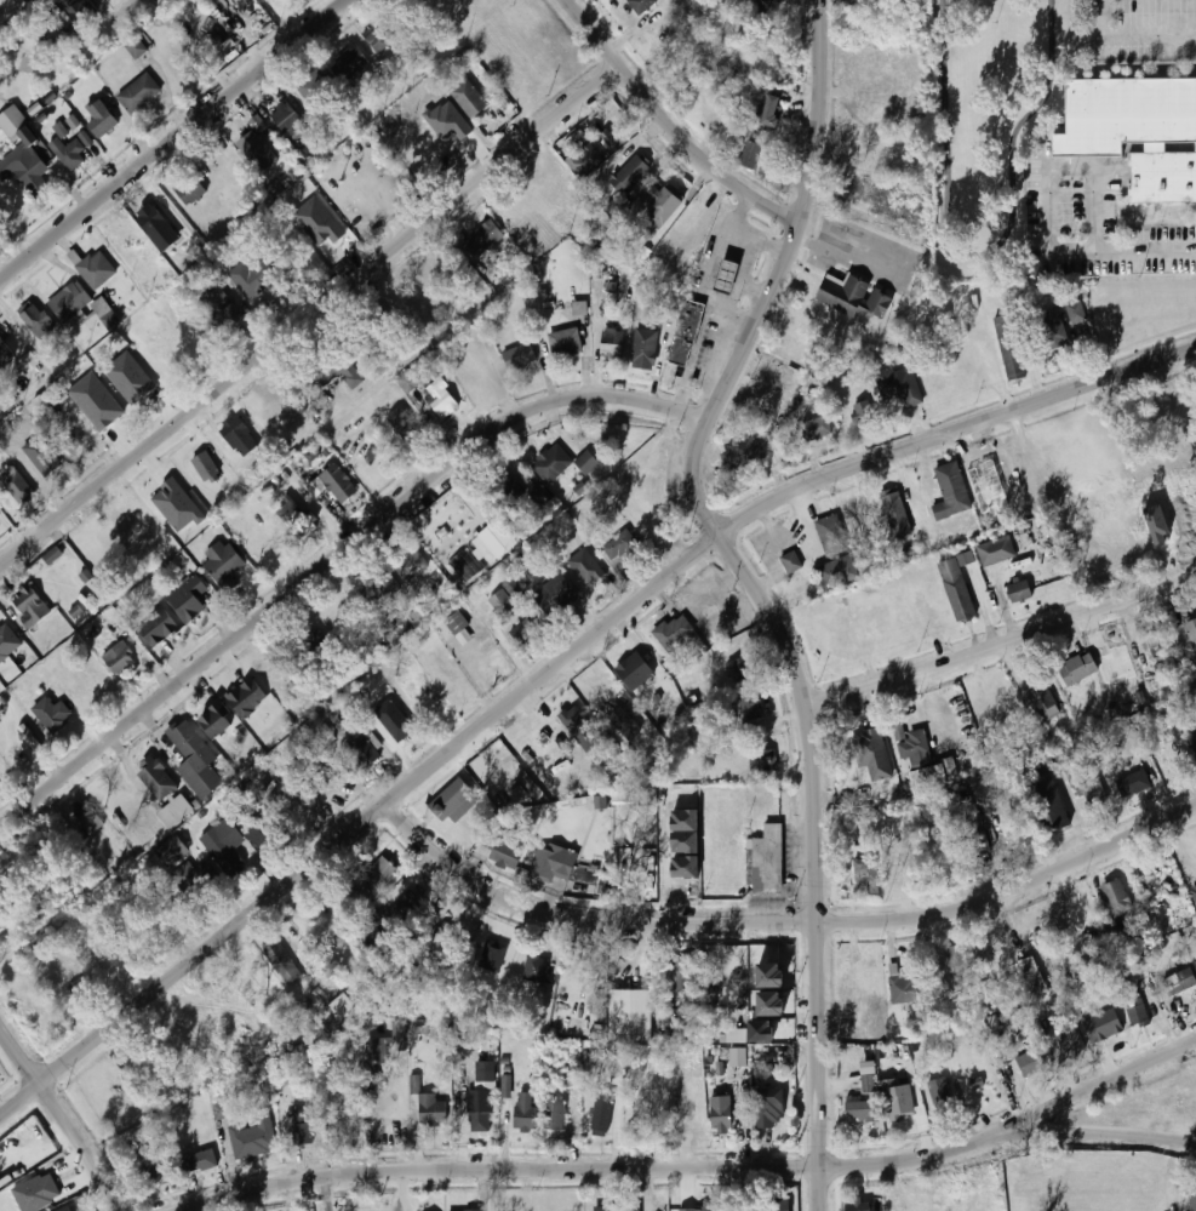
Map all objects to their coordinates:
road: (4, 2)
building: (642, 4)
building: (761, 6)
building: (80, 11)
building: (376, 36)
road: (1126, 42)
building: (137, 47)
building: (349, 63)
building: (138, 92)
building: (469, 98)
building: (766, 116)
building: (102, 119)
building: (287, 119)
building: (73, 122)
road: (671, 124)
building: (1137, 133)
building: (613, 138)
road: (176, 141)
building: (258, 152)
building: (68, 153)
building: (22, 154)
building: (752, 155)
building: (305, 156)
building: (584, 160)
road: (1048, 168)
building: (629, 175)
building: (189, 190)
building: (662, 207)
building: (154, 224)
building: (481, 239)
road: (846, 246)
road: (1146, 246)
building: (643, 256)
building: (95, 273)
road: (771, 276)
building: (252, 278)
building: (727, 278)
building: (843, 296)
building: (68, 302)
building: (221, 308)
building: (580, 308)
building: (105, 313)
building: (1076, 313)
road: (311, 318)
building: (35, 321)
building: (1052, 330)
building: (686, 335)
building: (565, 344)
building: (612, 344)
building: (1009, 347)
building: (645, 348)
building: (5, 353)
building: (520, 356)
building: (29, 361)
building: (339, 375)
building: (130, 377)
building: (939, 382)
building: (899, 387)
building: (440, 398)
building: (864, 412)
building: (103, 422)
building: (405, 427)
building: (816, 429)
road: (950, 432)
building: (239, 436)
building: (374, 452)
building: (42, 456)
building: (736, 456)
building: (586, 462)
building: (551, 463)
building: (205, 468)
building: (624, 478)
building: (16, 484)
building: (338, 484)
building: (950, 492)
building: (539, 497)
building: (508, 503)
building: (177, 505)
building: (897, 514)
building: (296, 516)
road: (749, 535)
building: (831, 536)
building: (493, 542)
building: (617, 548)
building: (996, 552)
building: (53, 555)
road: (333, 561)
building: (791, 561)
building: (223, 564)
building: (410, 567)
building: (583, 570)
building: (831, 575)
building: (379, 588)
building: (957, 590)
building: (1020, 592)
building: (555, 595)
building: (188, 598)
building: (502, 602)
building: (30, 605)
building: (456, 622)
building: (158, 627)
building: (715, 628)
building: (525, 630)
building: (1191, 630)
building: (674, 633)
building: (8, 642)
building: (314, 642)
road: (1000, 645)
building: (1160, 652)
building: (119, 658)
building: (1077, 669)
building: (742, 670)
building: (635, 672)
building: (246, 697)
building: (1042, 702)
building: (751, 707)
building: (50, 713)
building: (345, 716)
building: (217, 720)
building: (393, 720)
building: (567, 721)
building: (625, 722)
building: (29, 737)
building: (1192, 738)
building: (362, 752)
building: (871, 753)
building: (194, 759)
building: (1042, 760)
building: (762, 761)
building: (920, 761)
building: (155, 778)
building: (1131, 782)
building: (1093, 793)
building: (452, 798)
building: (1048, 807)
building: (173, 811)
building: (90, 819)
road: (359, 828)
building: (974, 835)
building: (258, 838)
building: (223, 845)
building: (171, 851)
building: (932, 852)
building: (507, 856)
building: (768, 859)
road: (811, 863)
building: (545, 864)
building: (865, 872)
building: (372, 878)
building: (193, 879)
building: (1117, 898)
building: (397, 910)
road: (783, 924)
building: (446, 933)
building: (492, 956)
building: (958, 960)
building: (281, 962)
building: (536, 969)
building: (682, 975)
building: (771, 975)
building: (1035, 976)
building: (1179, 983)
building: (902, 986)
building: (81, 990)
building: (771, 1004)
building: (342, 1006)
building: (1138, 1013)
building: (631, 1015)
building: (665, 1018)
building: (1103, 1024)
building: (400, 1028)
building: (573, 1029)
building: (762, 1030)
building: (442, 1035)
building: (737, 1035)
building: (1068, 1035)
building: (377, 1049)
building: (739, 1057)
building: (1030, 1063)
building: (571, 1078)
building: (870, 1084)
road: (1100, 1084)
building: (507, 1086)
building: (940, 1091)
building: (481, 1101)
building: (898, 1101)
building: (769, 1106)
building: (431, 1110)
building: (862, 1110)
building: (222, 1112)
building: (526, 1112)
building: (721, 1113)
road: (63, 1115)
building: (555, 1115)
building: (601, 1115)
building: (302, 1127)
building: (253, 1137)
building: (199, 1161)
road: (694, 1167)
building: (156, 1172)
building: (1191, 1203)
building: (776, 1205)
building: (71, 1206)
building: (859, 1206)
building: (614, 1209)
building: (694, 1209)
building: (726, 1209)

